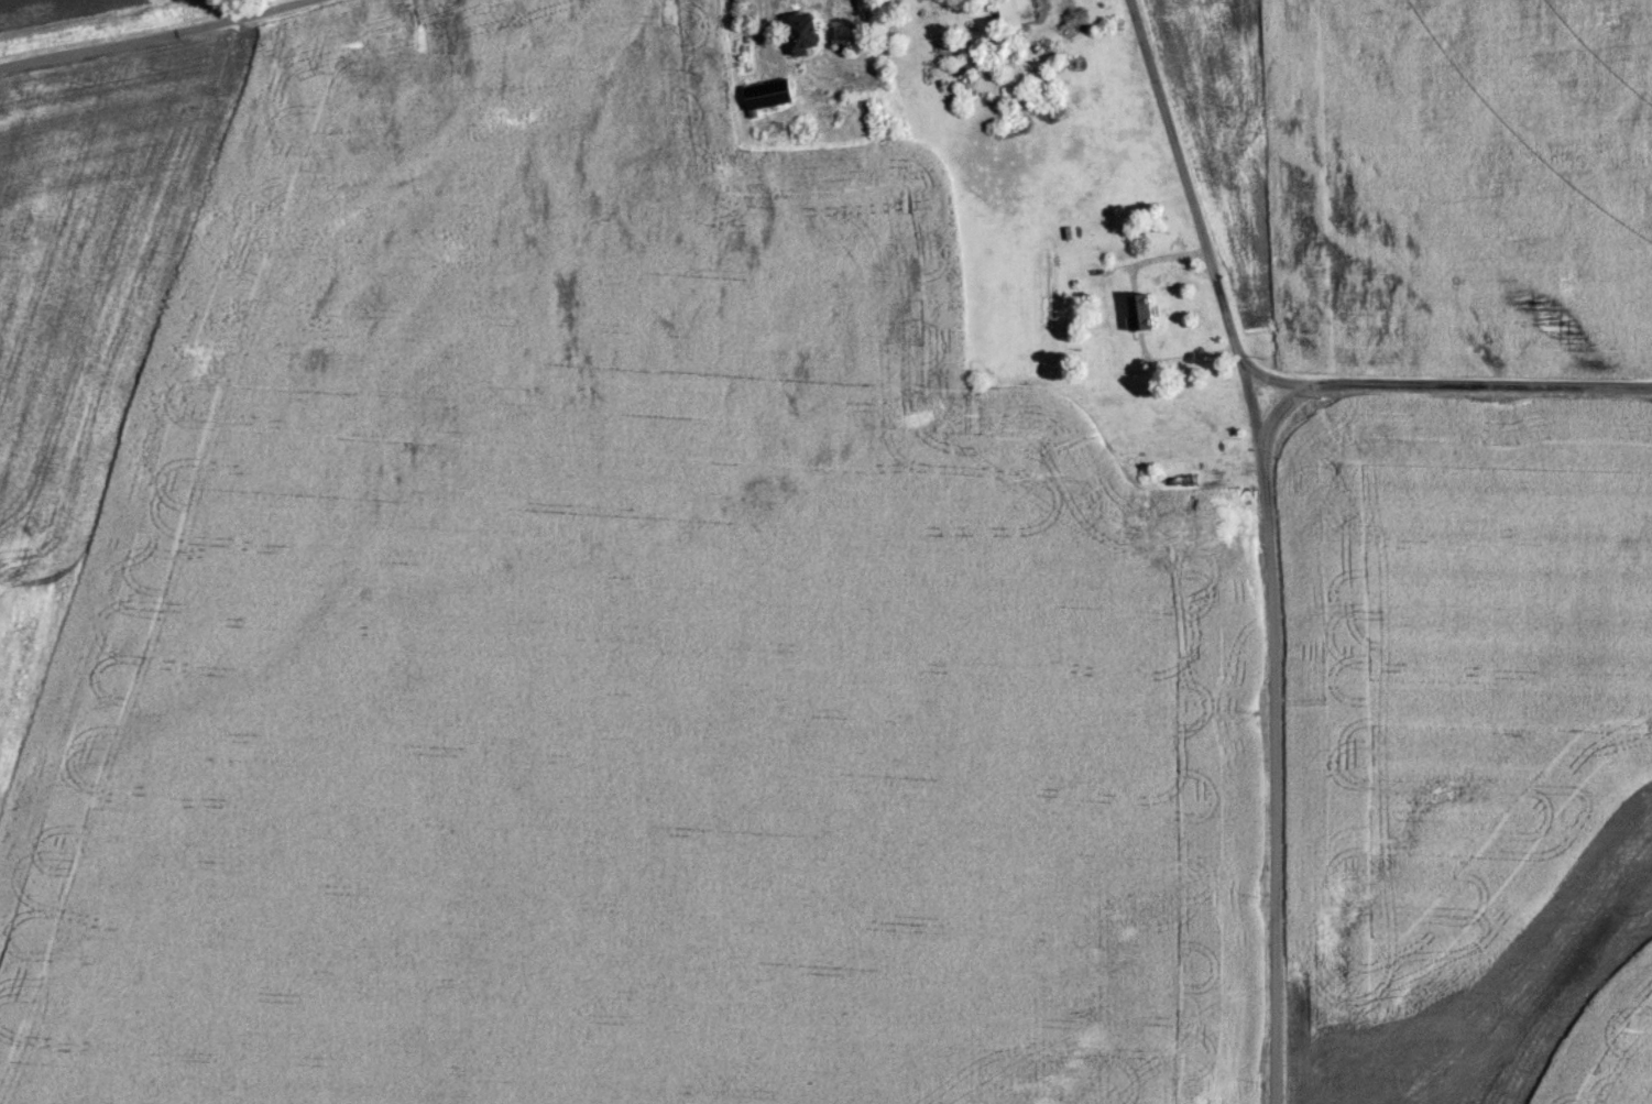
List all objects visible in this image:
building: (1014, 11)
building: (803, 31)
road: (153, 37)
building: (766, 92)
road: (1184, 186)
building: (1140, 310)
road: (1272, 378)
road: (1477, 384)
road: (1250, 405)
road: (1280, 411)
road: (1272, 770)

